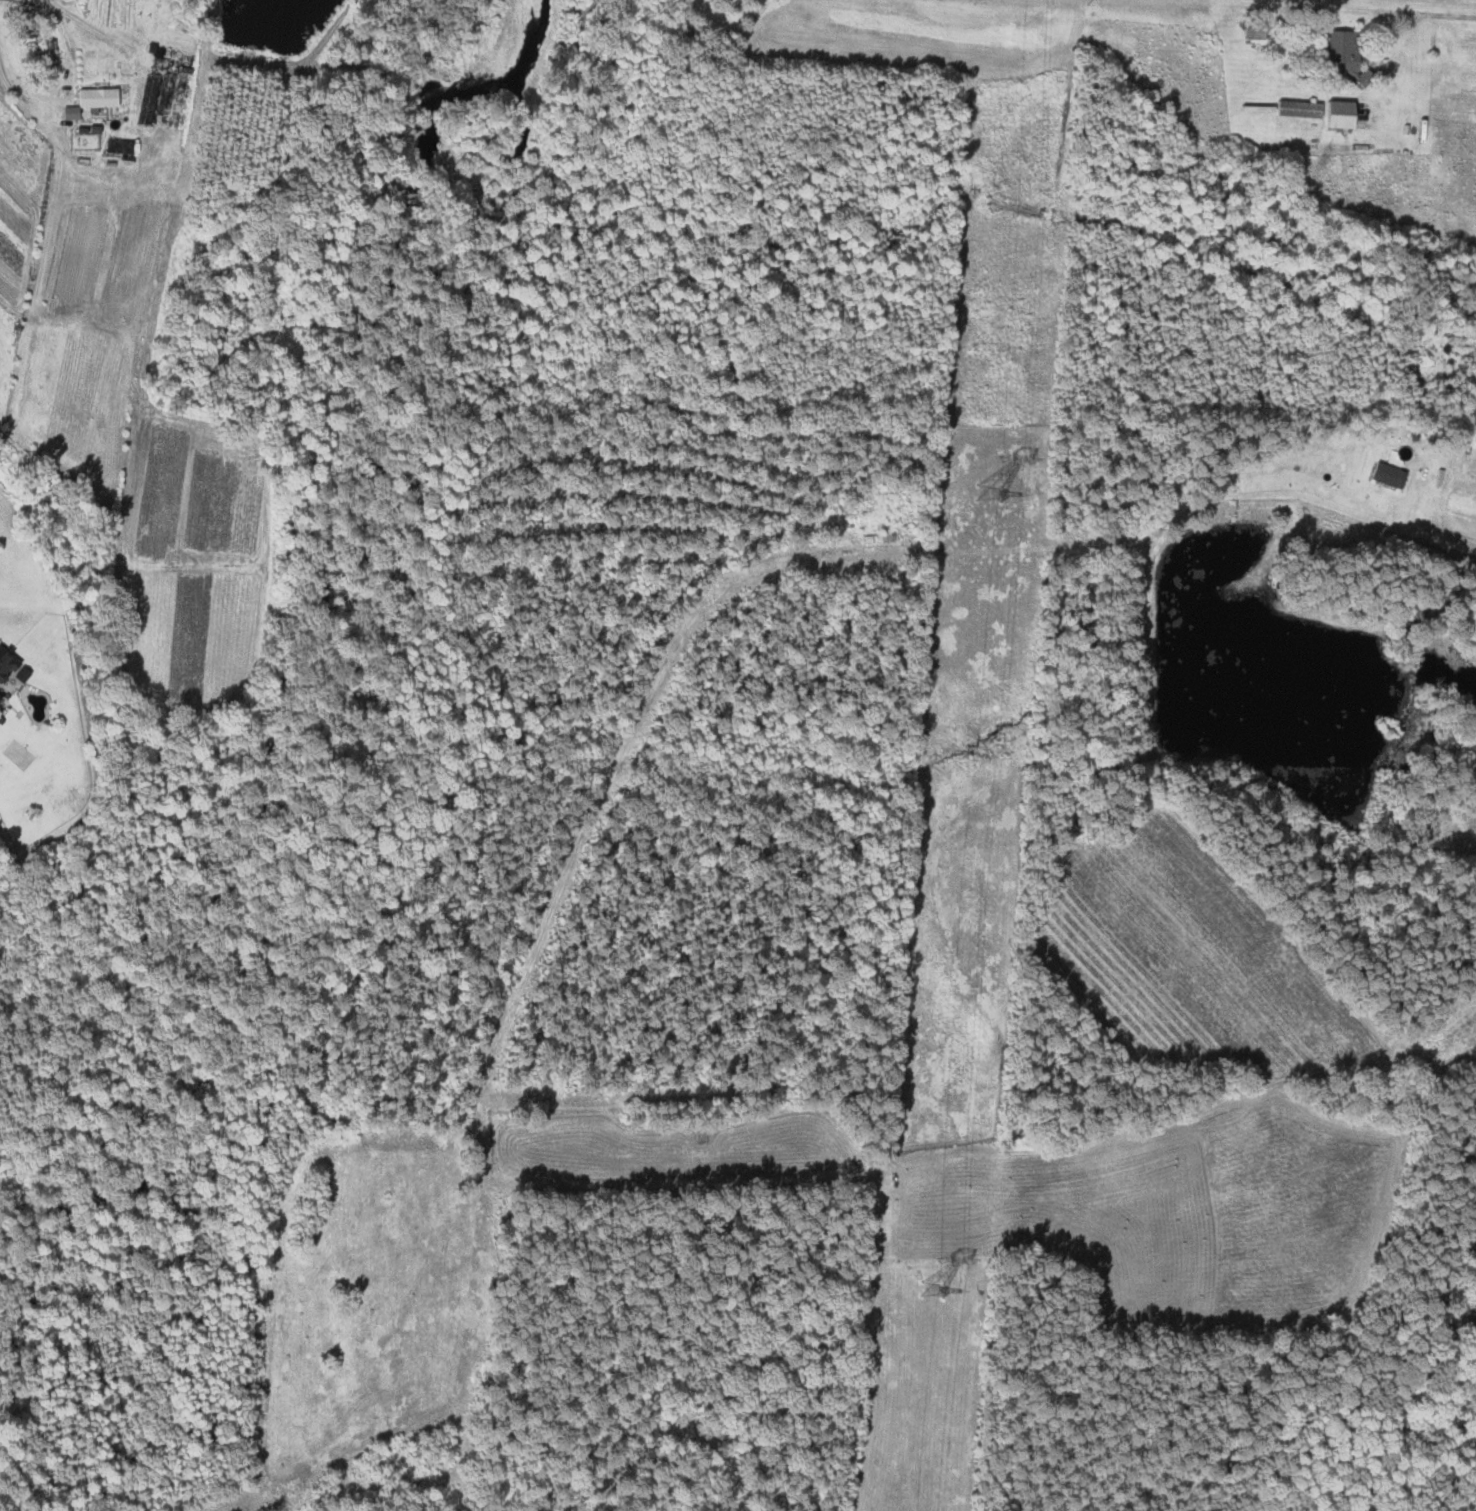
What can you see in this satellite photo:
road: (1322, 9)
road: (100, 31)
building: (1337, 52)
road: (71, 95)
building: (98, 102)
park: (82, 141)
building: (1384, 475)
power tower: (988, 491)
road: (807, 559)
building: (8, 666)
building: (2, 701)
power tower: (927, 1290)

